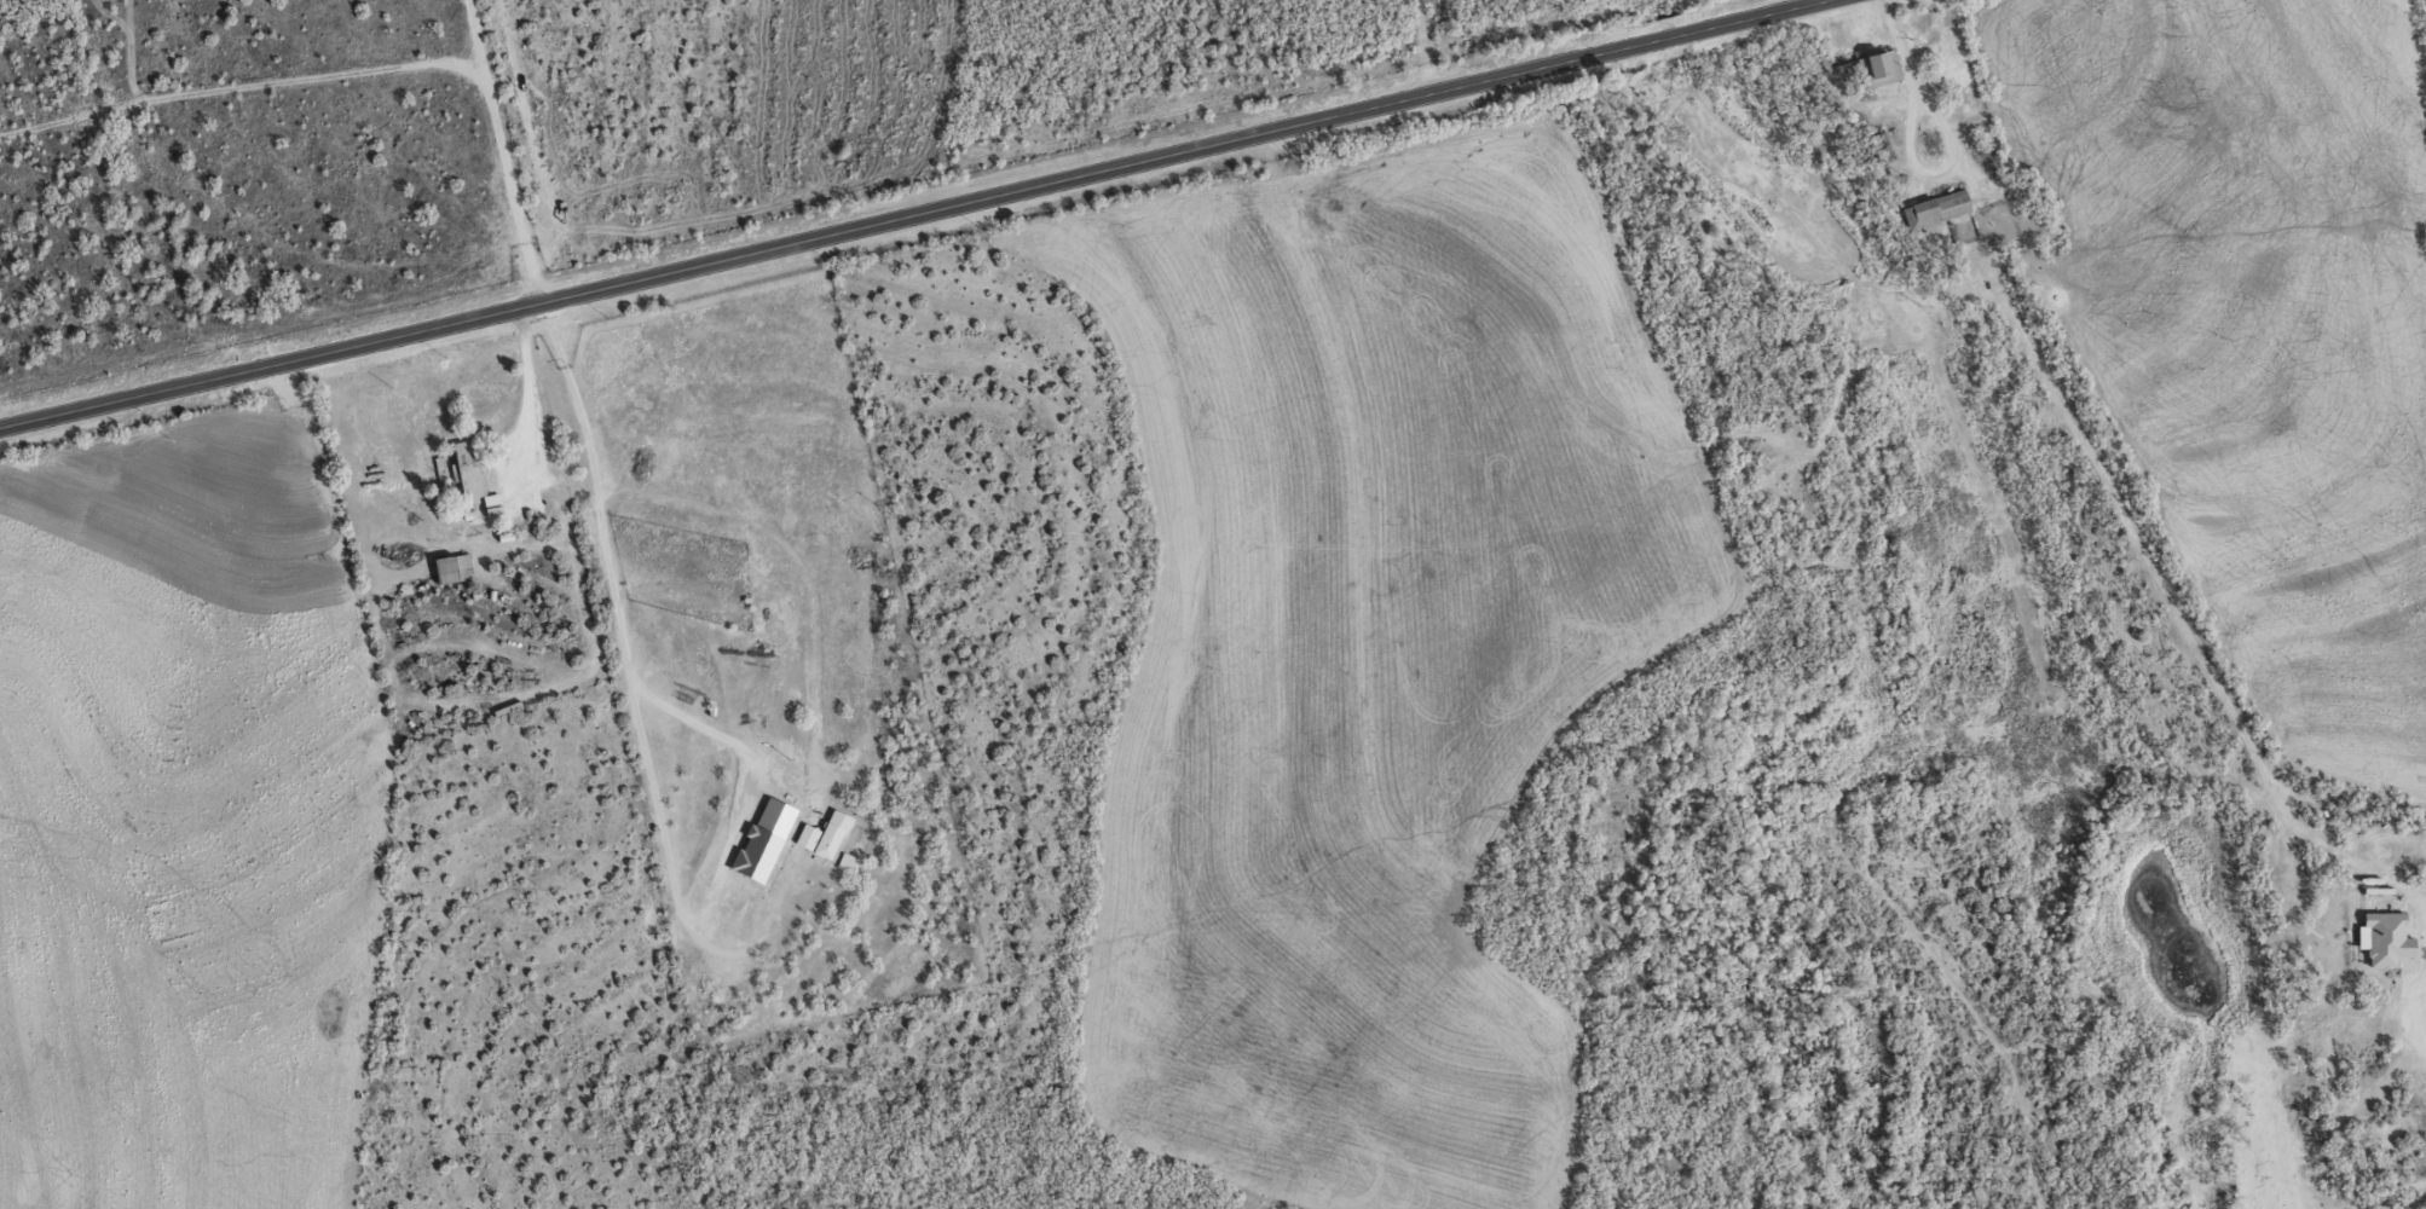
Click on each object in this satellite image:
building: (1879, 68)
building: (1937, 209)
road: (911, 212)
road: (526, 389)
building: (468, 468)
building: (493, 504)
building: (454, 568)
building: (832, 833)
building: (808, 835)
building: (764, 839)
building: (848, 862)
building: (2389, 937)

